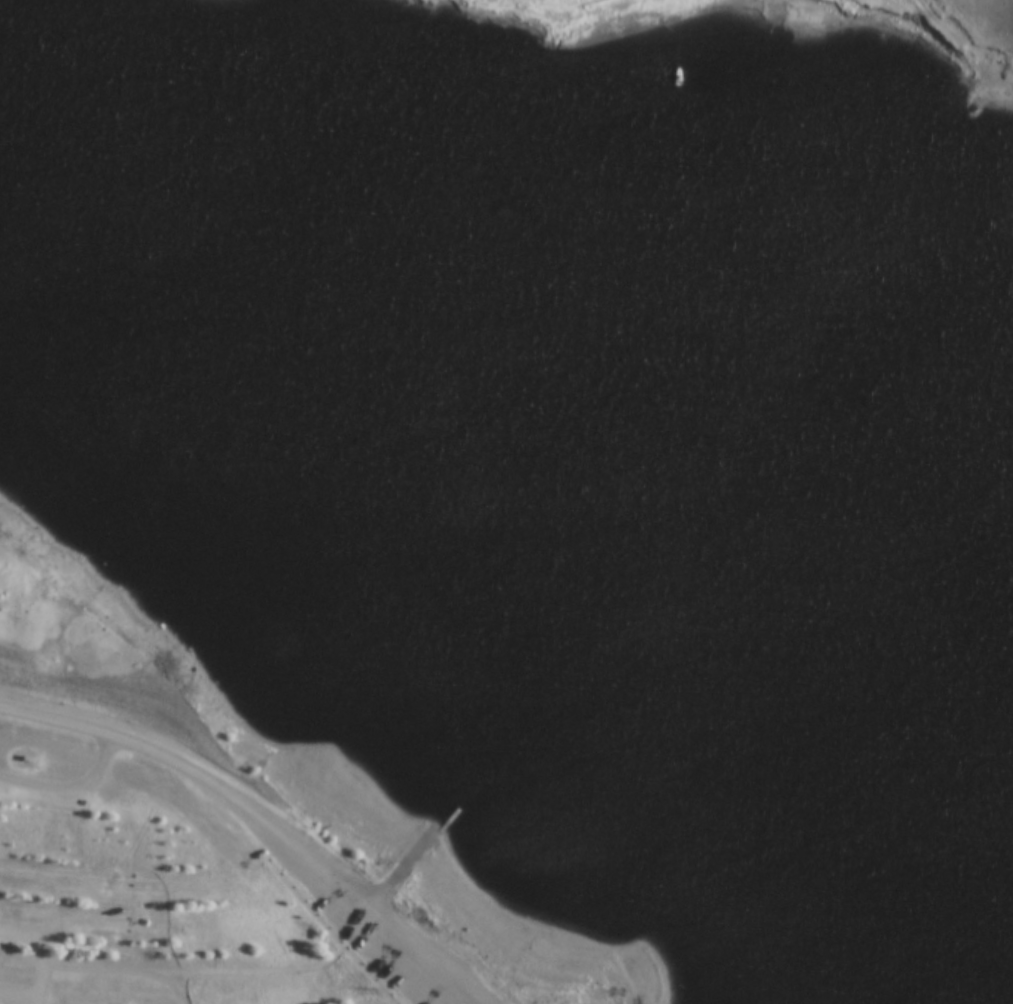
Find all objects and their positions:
road: (73, 791)
road: (251, 818)
road: (407, 867)
road: (41, 956)
road: (116, 975)
road: (15, 1002)

